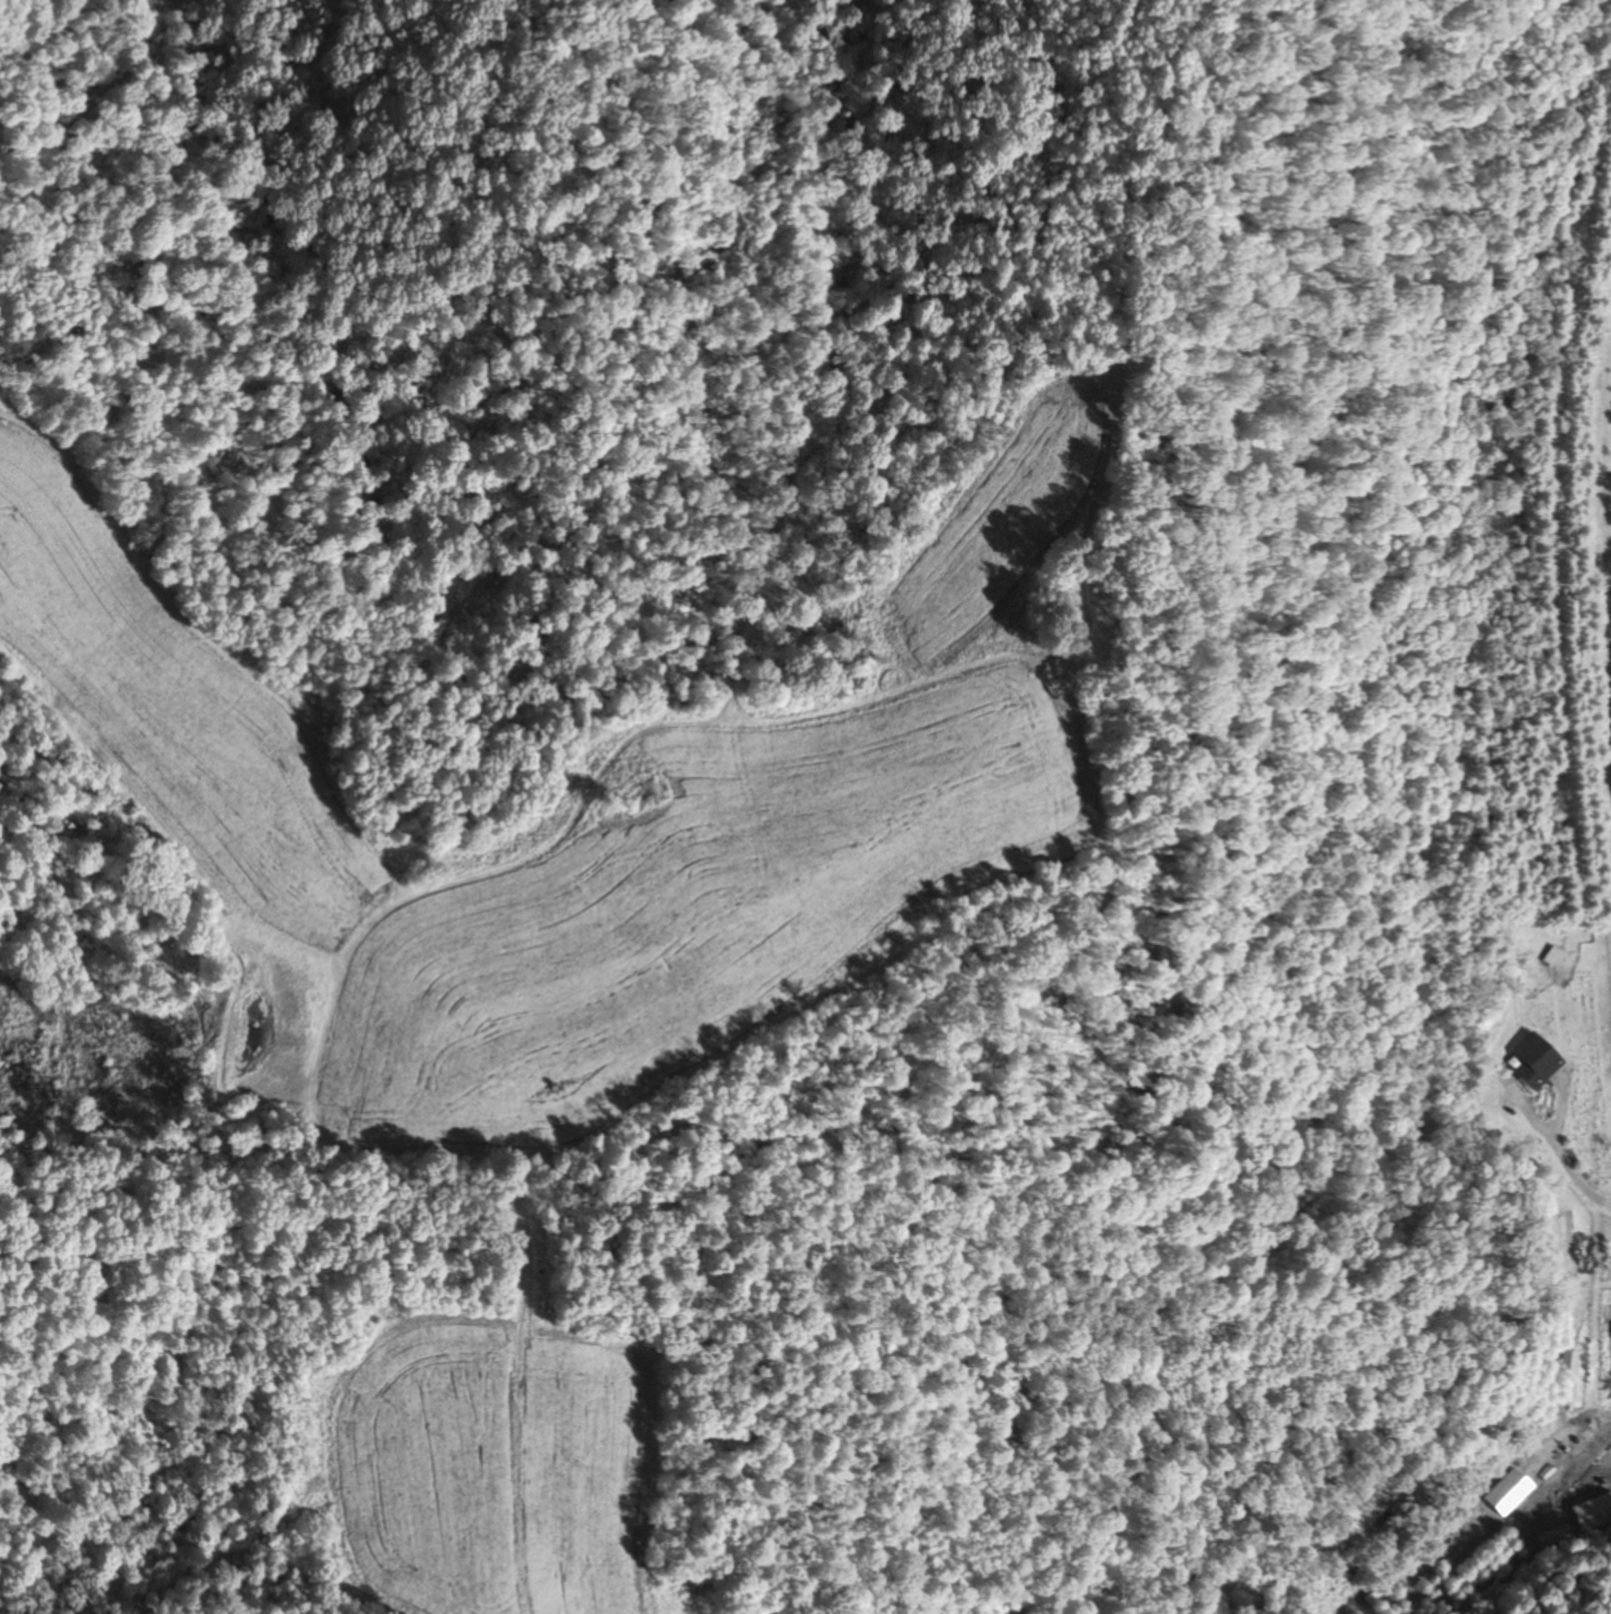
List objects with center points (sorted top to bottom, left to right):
road: (1591, 585)
building: (1551, 957)
building: (1535, 1061)
building: (1591, 1513)

